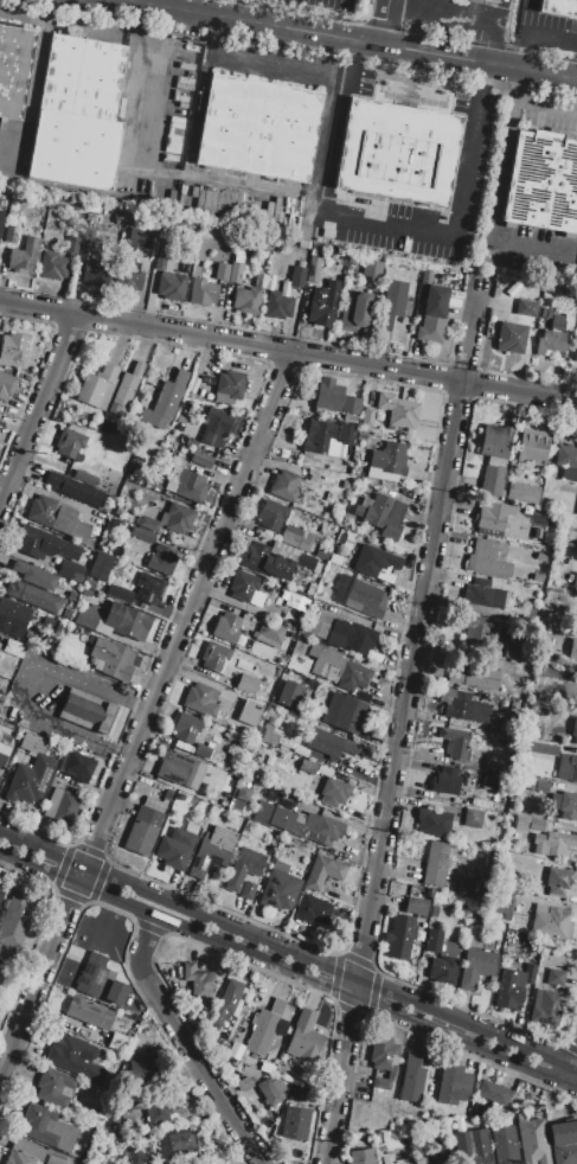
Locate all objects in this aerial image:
building: (492, 0)
road: (126, 2)
road: (141, 2)
parking lot: (326, 4)
building: (558, 7)
road: (310, 11)
road: (84, 12)
road: (23, 13)
parking lot: (24, 15)
parking lot: (549, 21)
road: (384, 23)
parking lot: (88, 26)
parking lot: (444, 31)
road: (532, 33)
road: (358, 43)
parking lot: (273, 51)
road: (344, 60)
road: (254, 66)
building: (13, 69)
road: (419, 76)
building: (81, 77)
road: (481, 77)
road: (33, 82)
road: (532, 102)
parking lot: (549, 121)
building: (257, 128)
building: (360, 145)
parking lot: (12, 147)
road: (327, 147)
building: (72, 148)
building: (402, 153)
parking lot: (477, 156)
building: (440, 160)
road: (466, 165)
building: (531, 178)
building: (564, 191)
building: (216, 199)
road: (495, 210)
building: (1, 217)
building: (118, 219)
building: (53, 224)
road: (384, 228)
building: (11, 234)
building: (140, 238)
building: (71, 244)
building: (84, 248)
parking lot: (530, 248)
building: (23, 256)
building: (160, 256)
building: (261, 264)
building: (52, 266)
building: (314, 266)
building: (372, 269)
building: (227, 271)
building: (92, 274)
building: (299, 276)
building: (129, 277)
parking lot: (576, 279)
building: (171, 286)
building: (203, 292)
building: (248, 296)
building: (323, 303)
building: (391, 303)
building: (277, 305)
building: (526, 307)
building: (354, 312)
building: (432, 315)
building: (557, 324)
road: (268, 332)
building: (511, 337)
building: (550, 341)
building: (12, 347)
building: (575, 352)
road: (288, 354)
road: (461, 366)
road: (38, 367)
road: (480, 370)
building: (6, 385)
building: (126, 385)
building: (226, 385)
building: (97, 386)
building: (327, 395)
road: (457, 395)
building: (165, 401)
building: (348, 404)
building: (398, 410)
road: (38, 412)
building: (348, 418)
building: (216, 427)
building: (346, 434)
building: (320, 439)
building: (494, 441)
building: (70, 443)
building: (532, 447)
road: (236, 449)
building: (389, 458)
building: (200, 459)
building: (566, 461)
building: (84, 477)
building: (312, 477)
building: (492, 480)
building: (185, 484)
building: (283, 485)
building: (70, 487)
building: (521, 492)
building: (271, 514)
building: (380, 514)
building: (56, 518)
building: (492, 518)
building: (169, 519)
building: (142, 535)
building: (297, 538)
building: (339, 539)
building: (44, 544)
building: (540, 556)
building: (334, 558)
building: (161, 559)
building: (274, 559)
building: (486, 559)
building: (376, 563)
building: (100, 567)
building: (70, 570)
building: (38, 577)
building: (537, 577)
building: (575, 581)
building: (90, 583)
building: (243, 584)
building: (149, 588)
building: (309, 589)
building: (85, 591)
building: (120, 594)
building: (482, 594)
building: (358, 595)
building: (31, 596)
building: (72, 599)
building: (65, 613)
building: (13, 618)
building: (114, 620)
building: (225, 627)
building: (473, 627)
building: (58, 628)
building: (318, 628)
building: (270, 631)
building: (351, 635)
building: (13, 647)
building: (572, 648)
building: (511, 651)
building: (214, 655)
building: (111, 659)
building: (297, 659)
building: (336, 667)
building: (474, 676)
road: (18, 683)
building: (246, 684)
building: (289, 693)
building: (206, 698)
parking lot: (59, 699)
building: (1, 703)
building: (460, 709)
building: (86, 710)
building: (540, 711)
building: (345, 712)
road: (146, 718)
building: (231, 722)
road: (403, 722)
building: (288, 727)
building: (185, 728)
building: (575, 730)
building: (276, 740)
building: (328, 742)
building: (454, 742)
building: (33, 744)
building: (541, 748)
building: (201, 752)
building: (2, 753)
road: (408, 753)
building: (307, 766)
building: (568, 768)
building: (179, 769)
building: (230, 779)
building: (28, 780)
building: (444, 780)
building: (491, 780)
building: (541, 786)
building: (68, 788)
building: (333, 792)
building: (160, 793)
building: (243, 793)
building: (564, 805)
building: (472, 818)
building: (432, 821)
building: (300, 823)
building: (527, 824)
building: (142, 831)
building: (550, 843)
building: (177, 845)
building: (212, 851)
building: (435, 863)
building: (243, 868)
building: (322, 871)
building: (558, 881)
road: (49, 883)
building: (278, 887)
building: (246, 890)
building: (467, 890)
building: (0, 891)
road: (90, 901)
road: (101, 903)
building: (416, 906)
building: (504, 906)
building: (312, 909)
building: (17, 919)
building: (550, 922)
road: (152, 927)
road: (280, 932)
building: (399, 938)
road: (288, 951)
road: (142, 957)
building: (441, 957)
building: (475, 967)
road: (261, 968)
road: (288, 972)
building: (100, 980)
building: (195, 980)
building: (513, 986)
building: (546, 998)
building: (226, 1000)
building: (89, 1013)
road: (367, 1016)
building: (263, 1028)
building: (303, 1038)
road: (570, 1047)
road: (455, 1048)
building: (383, 1053)
building: (73, 1056)
building: (267, 1067)
building: (139, 1072)
building: (246, 1077)
road: (206, 1079)
building: (380, 1083)
building: (453, 1085)
building: (410, 1086)
building: (53, 1088)
building: (271, 1091)
building: (492, 1092)
building: (158, 1107)
building: (295, 1123)
building: (46, 1127)
building: (175, 1139)
building: (532, 1139)
building: (563, 1141)
building: (504, 1144)
building: (472, 1145)
building: (24, 1152)
building: (135, 1155)
building: (443, 1155)
building: (363, 1157)
building: (387, 1159)
building: (53, 1160)
building: (430, 1162)
building: (188, 1163)

